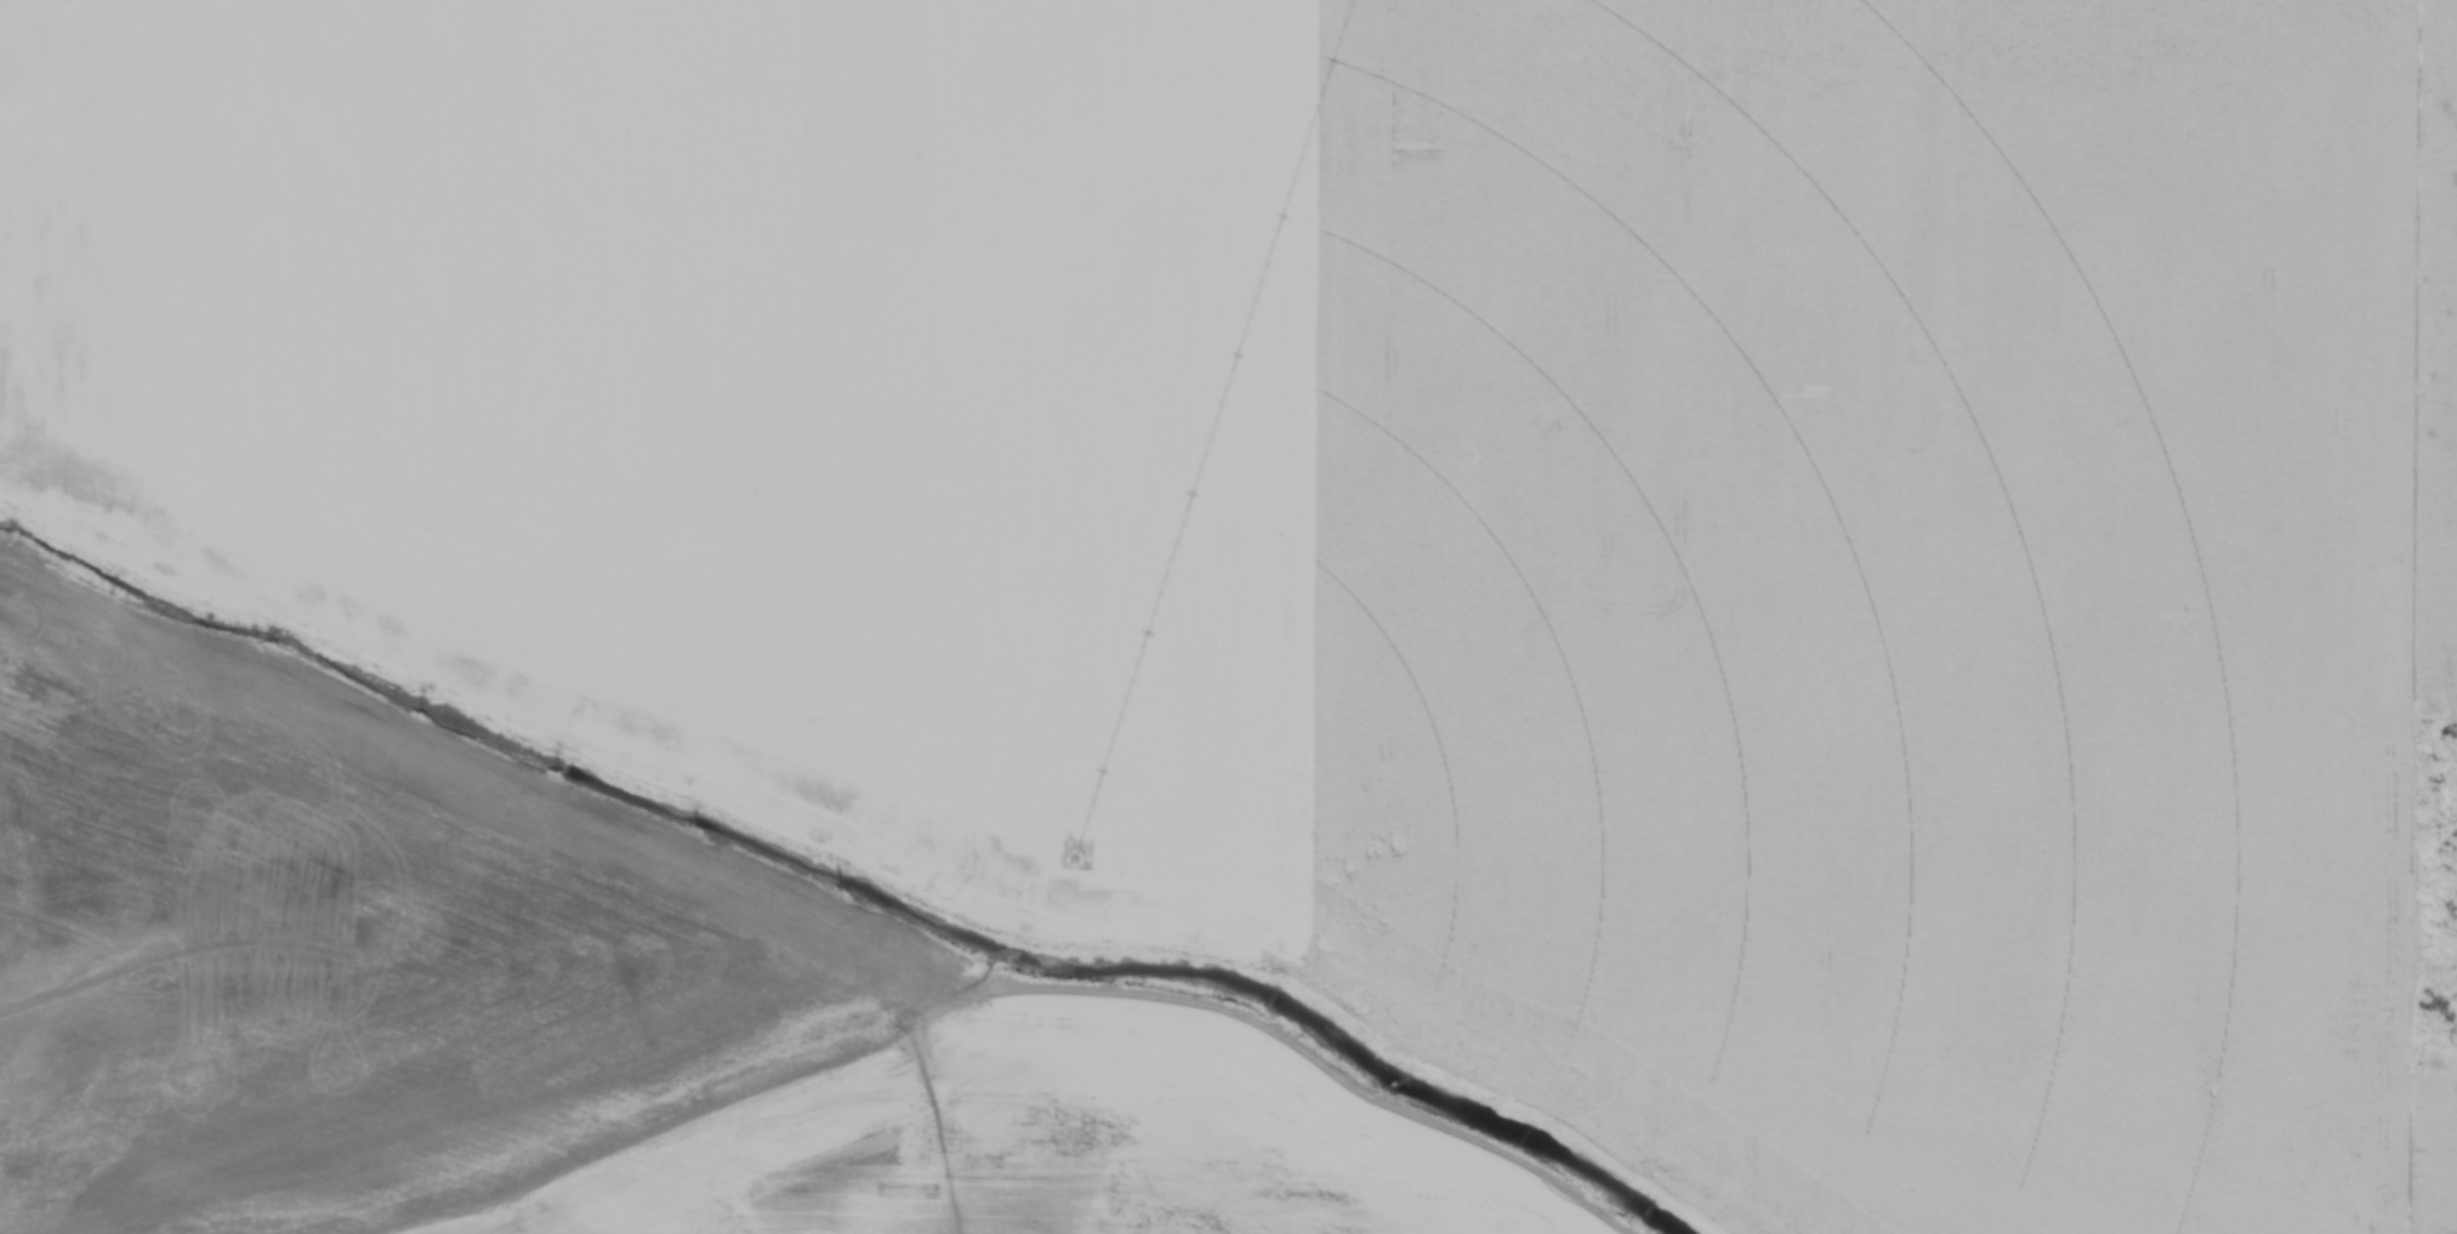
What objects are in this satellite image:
park: (2439, 881)

